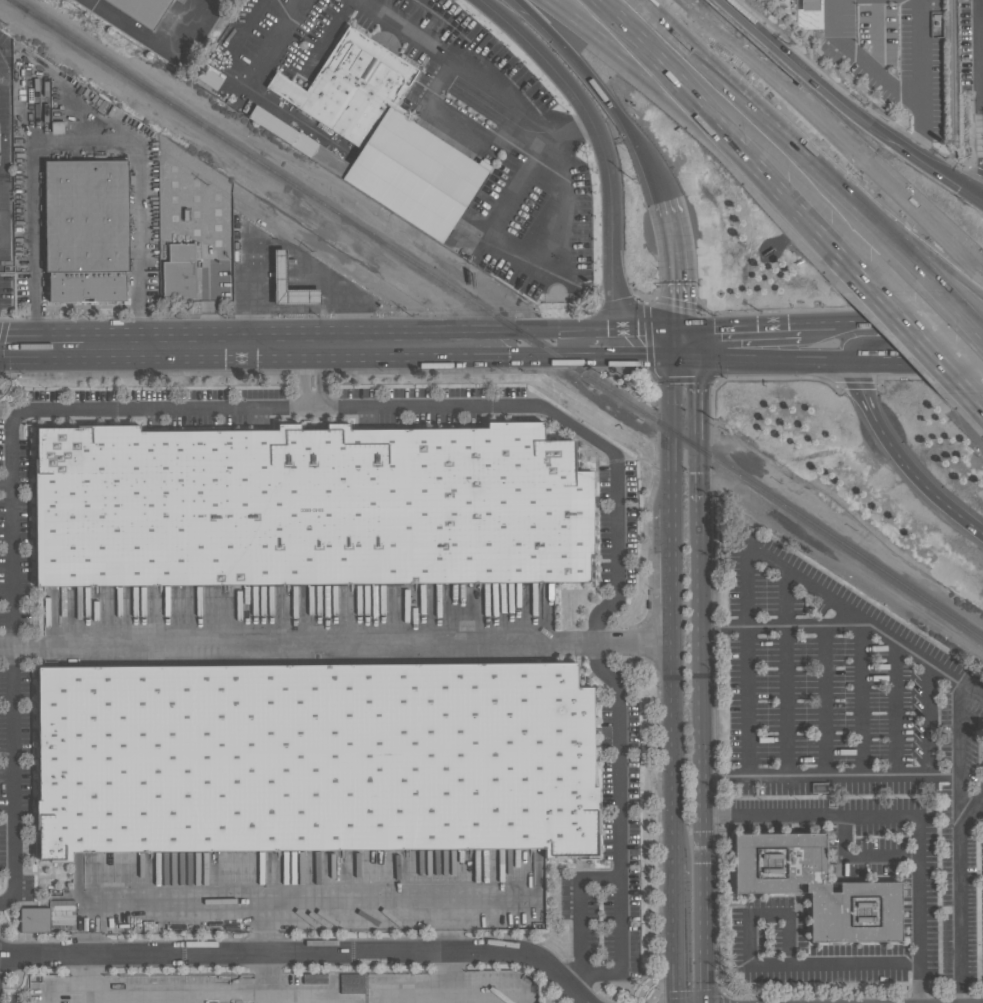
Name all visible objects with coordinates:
railway: (18, 5)
building: (143, 10)
building: (803, 14)
road: (248, 27)
road: (982, 33)
road: (325, 35)
road: (149, 39)
railway: (950, 69)
road: (480, 75)
road: (814, 87)
road: (254, 88)
road: (603, 92)
road: (904, 96)
road: (919, 123)
road: (457, 124)
building: (386, 135)
road: (732, 136)
road: (807, 136)
building: (296, 140)
road: (85, 147)
road: (604, 149)
road: (920, 151)
railway: (278, 173)
road: (952, 184)
building: (87, 229)
road: (924, 235)
road: (280, 248)
road: (518, 257)
building: (280, 269)
gas station: (280, 269)
road: (679, 272)
road: (978, 273)
building: (179, 280)
road: (968, 298)
road: (933, 336)
road: (907, 341)
road: (816, 342)
road: (741, 343)
road: (314, 344)
traffic signals: (682, 344)
road: (649, 345)
road: (42, 346)
road: (567, 346)
road: (603, 346)
road: (308, 375)
road: (379, 405)
road: (697, 422)
road: (672, 425)
road: (896, 452)
railway: (765, 489)
building: (306, 507)
road: (773, 558)
road: (674, 574)
road: (843, 625)
road: (337, 644)
road: (14, 696)
road: (746, 702)
road: (675, 752)
road: (701, 753)
building: (312, 759)
road: (960, 764)
road: (869, 774)
road: (943, 774)
road: (904, 814)
road: (618, 830)
road: (861, 852)
building: (815, 887)
road: (266, 898)
road: (582, 912)
road: (961, 913)
building: (34, 920)
road: (264, 926)
road: (676, 933)
road: (303, 952)
road: (766, 965)
road: (267, 972)
road: (272, 992)

